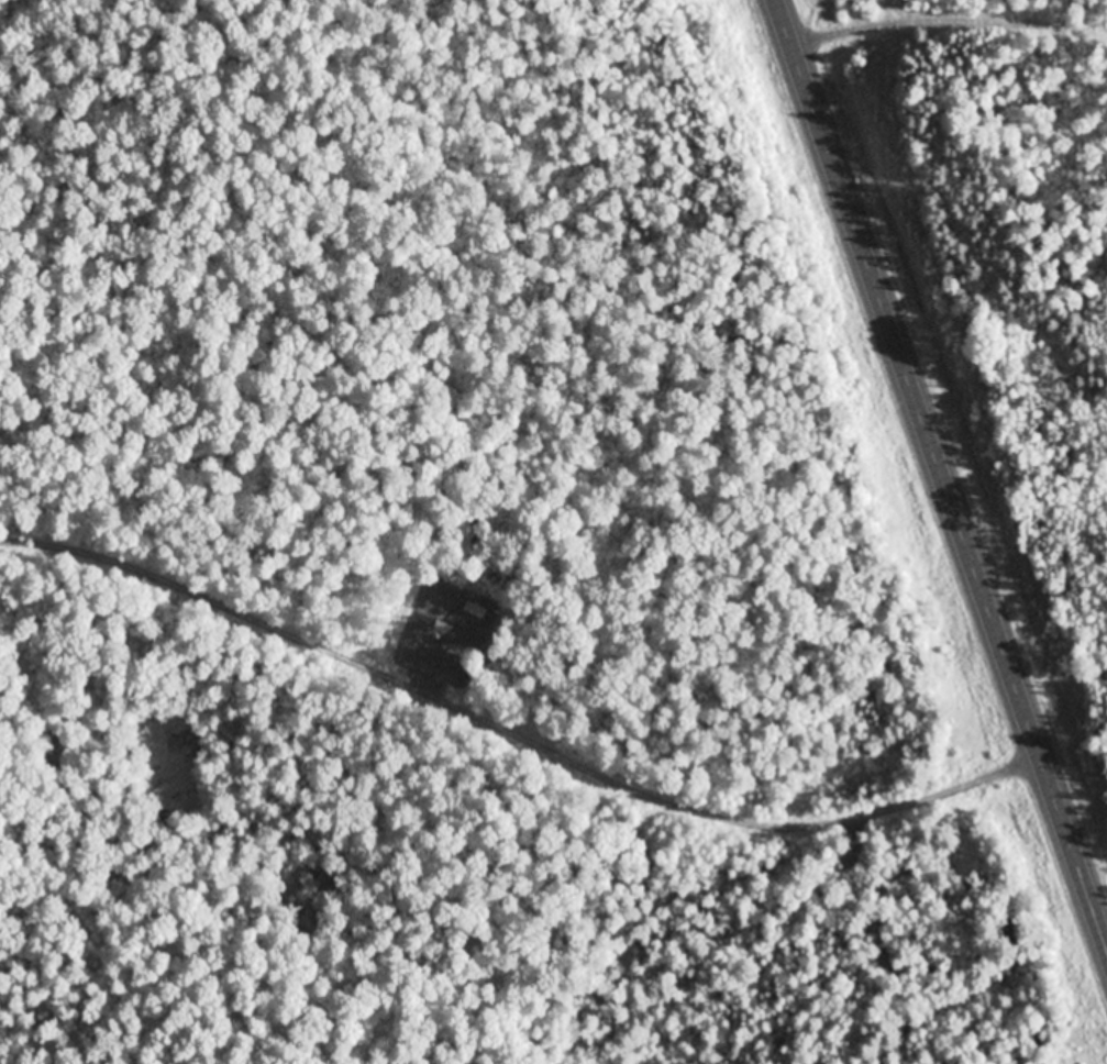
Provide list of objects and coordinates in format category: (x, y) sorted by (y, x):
road: (940, 478)
road: (473, 608)

